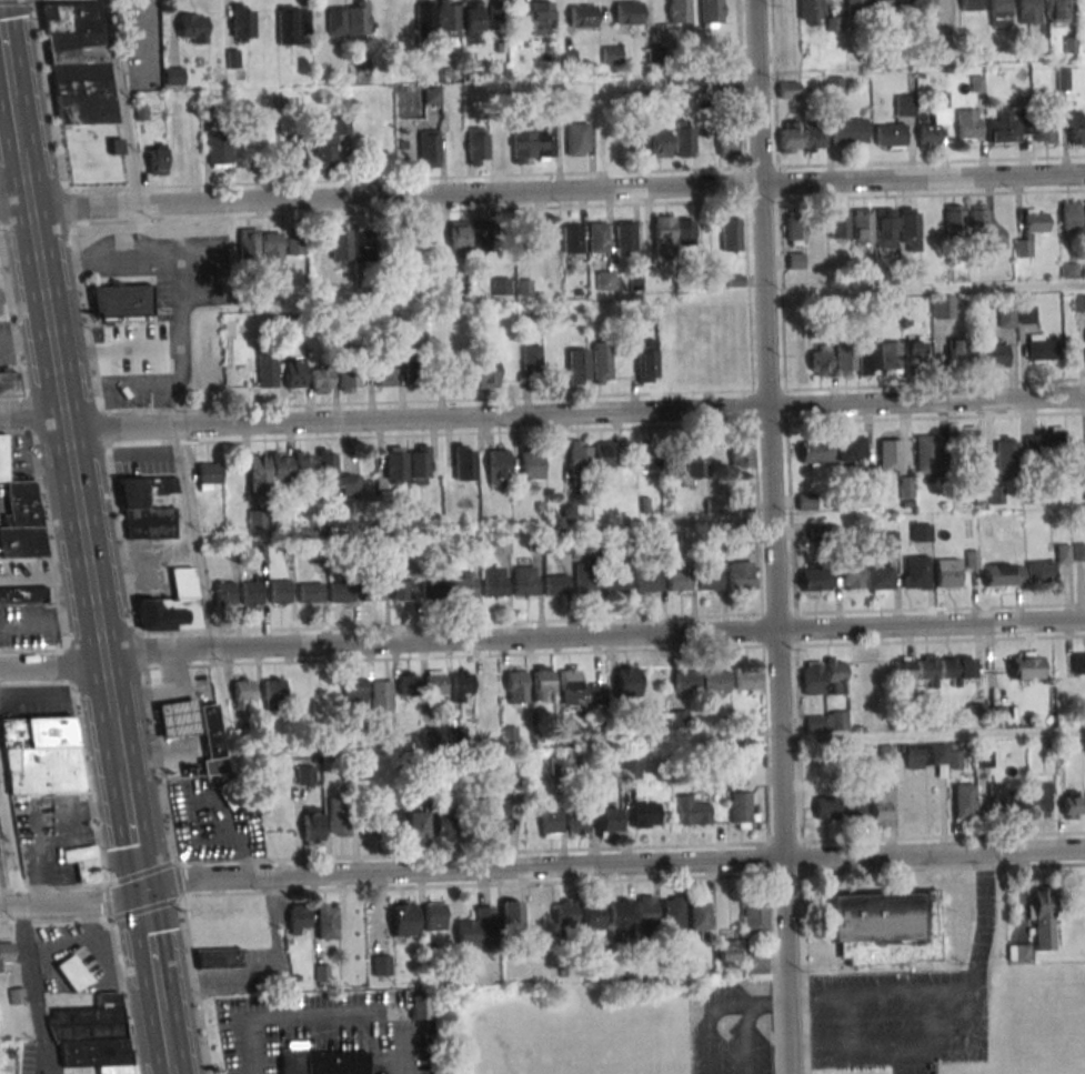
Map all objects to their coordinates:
building: (902, 4)
building: (924, 4)
building: (971, 4)
building: (877, 6)
building: (855, 7)
building: (679, 11)
building: (810, 11)
building: (1028, 11)
building: (1058, 11)
building: (627, 12)
building: (999, 12)
building: (711, 13)
building: (582, 16)
building: (425, 18)
building: (449, 18)
building: (541, 18)
building: (346, 20)
building: (241, 21)
building: (472, 21)
building: (291, 23)
building: (192, 28)
building: (655, 53)
building: (611, 54)
road: (2, 57)
building: (565, 57)
building: (78, 63)
building: (173, 76)
building: (1063, 79)
building: (834, 86)
building: (787, 89)
building: (431, 97)
road: (121, 102)
building: (904, 104)
road: (13, 119)
building: (968, 123)
building: (1008, 124)
building: (933, 128)
building: (1076, 129)
building: (848, 131)
building: (1044, 131)
building: (890, 134)
building: (811, 135)
building: (791, 137)
building: (576, 139)
building: (683, 139)
building: (639, 142)
building: (660, 142)
building: (532, 143)
building: (727, 143)
building: (330, 144)
building: (476, 145)
building: (615, 145)
building: (218, 151)
building: (290, 152)
building: (429, 152)
building: (157, 160)
road: (542, 189)
building: (1084, 204)
building: (1069, 217)
building: (954, 219)
building: (838, 223)
building: (863, 225)
building: (795, 228)
building: (885, 228)
building: (981, 228)
building: (910, 229)
building: (1031, 231)
building: (662, 233)
building: (730, 233)
building: (481, 234)
building: (525, 234)
building: (595, 237)
building: (622, 237)
building: (458, 238)
building: (569, 238)
building: (249, 244)
building: (340, 244)
building: (294, 245)
building: (271, 248)
building: (364, 250)
building: (795, 260)
road: (174, 273)
building: (604, 280)
building: (501, 285)
building: (120, 291)
building: (942, 307)
building: (1026, 314)
building: (1006, 320)
road: (24, 338)
building: (1042, 347)
road: (119, 348)
building: (958, 351)
building: (916, 353)
building: (994, 354)
building: (891, 357)
building: (868, 359)
building: (530, 360)
building: (670, 360)
building: (820, 360)
building: (845, 360)
building: (647, 361)
building: (602, 362)
building: (577, 365)
building: (265, 370)
building: (381, 372)
building: (485, 372)
building: (414, 373)
building: (458, 374)
building: (293, 375)
building: (348, 378)
building: (319, 380)
building: (8, 383)
road: (541, 415)
road: (64, 434)
building: (1044, 442)
building: (965, 446)
building: (851, 449)
building: (815, 451)
building: (741, 453)
building: (602, 454)
building: (888, 454)
building: (579, 455)
building: (650, 455)
building: (2, 458)
building: (928, 458)
building: (1006, 458)
building: (694, 460)
building: (463, 462)
building: (303, 464)
building: (395, 464)
building: (419, 464)
building: (531, 464)
building: (498, 465)
building: (267, 470)
building: (335, 474)
building: (209, 475)
building: (906, 486)
building: (132, 492)
building: (995, 494)
building: (979, 495)
building: (806, 501)
building: (22, 502)
building: (567, 506)
building: (257, 519)
building: (150, 523)
building: (817, 531)
building: (921, 532)
road: (773, 536)
building: (21, 540)
road: (193, 543)
building: (501, 544)
building: (563, 544)
building: (1041, 571)
building: (915, 572)
building: (947, 573)
building: (737, 574)
building: (852, 574)
building: (1003, 576)
building: (584, 578)
building: (707, 579)
building: (814, 579)
building: (676, 580)
building: (878, 580)
building: (523, 581)
building: (645, 581)
building: (182, 582)
building: (492, 582)
building: (615, 582)
building: (554, 584)
building: (462, 586)
building: (431, 588)
building: (402, 589)
building: (370, 590)
building: (278, 591)
building: (339, 591)
building: (250, 592)
building: (309, 592)
building: (22, 593)
building: (223, 593)
building: (170, 612)
road: (47, 622)
road: (542, 641)
building: (1078, 663)
building: (1025, 668)
building: (956, 669)
building: (903, 671)
building: (926, 671)
building: (834, 676)
building: (624, 677)
building: (812, 677)
building: (714, 679)
building: (745, 679)
building: (567, 680)
building: (514, 681)
building: (541, 681)
building: (683, 681)
building: (433, 683)
building: (460, 683)
building: (489, 683)
building: (406, 684)
building: (272, 689)
building: (241, 690)
building: (352, 690)
building: (380, 694)
building: (975, 712)
building: (175, 717)
building: (826, 721)
building: (209, 730)
building: (38, 731)
road: (114, 744)
building: (927, 756)
building: (43, 770)
building: (513, 772)
building: (305, 774)
building: (1039, 795)
building: (999, 797)
building: (963, 800)
building: (825, 805)
building: (854, 807)
building: (1068, 807)
building: (740, 810)
building: (880, 810)
building: (691, 811)
building: (336, 814)
building: (644, 814)
building: (384, 819)
building: (496, 819)
building: (550, 821)
building: (576, 822)
building: (606, 822)
building: (445, 824)
building: (311, 825)
building: (415, 825)
road: (129, 833)
building: (69, 853)
road: (540, 866)
building: (86, 867)
traffic signals: (141, 897)
building: (511, 912)
building: (564, 913)
building: (645, 913)
building: (699, 914)
building: (434, 915)
building: (619, 915)
building: (673, 915)
building: (591, 916)
building: (754, 917)
building: (299, 919)
building: (403, 919)
building: (1043, 919)
road: (983, 920)
building: (326, 921)
road: (27, 926)
building: (885, 927)
building: (475, 929)
road: (149, 950)
building: (726, 952)
building: (6, 953)
building: (1018, 953)
building: (218, 958)
building: (755, 963)
building: (381, 964)
building: (72, 973)
road: (883, 1000)
road: (716, 1005)
building: (420, 1007)
road: (332, 1013)
parking lot: (371, 1027)
road: (162, 1033)
building: (93, 1034)
parking lot: (257, 1034)
road: (746, 1037)
road: (902, 1041)
building: (334, 1063)
road: (167, 1070)

